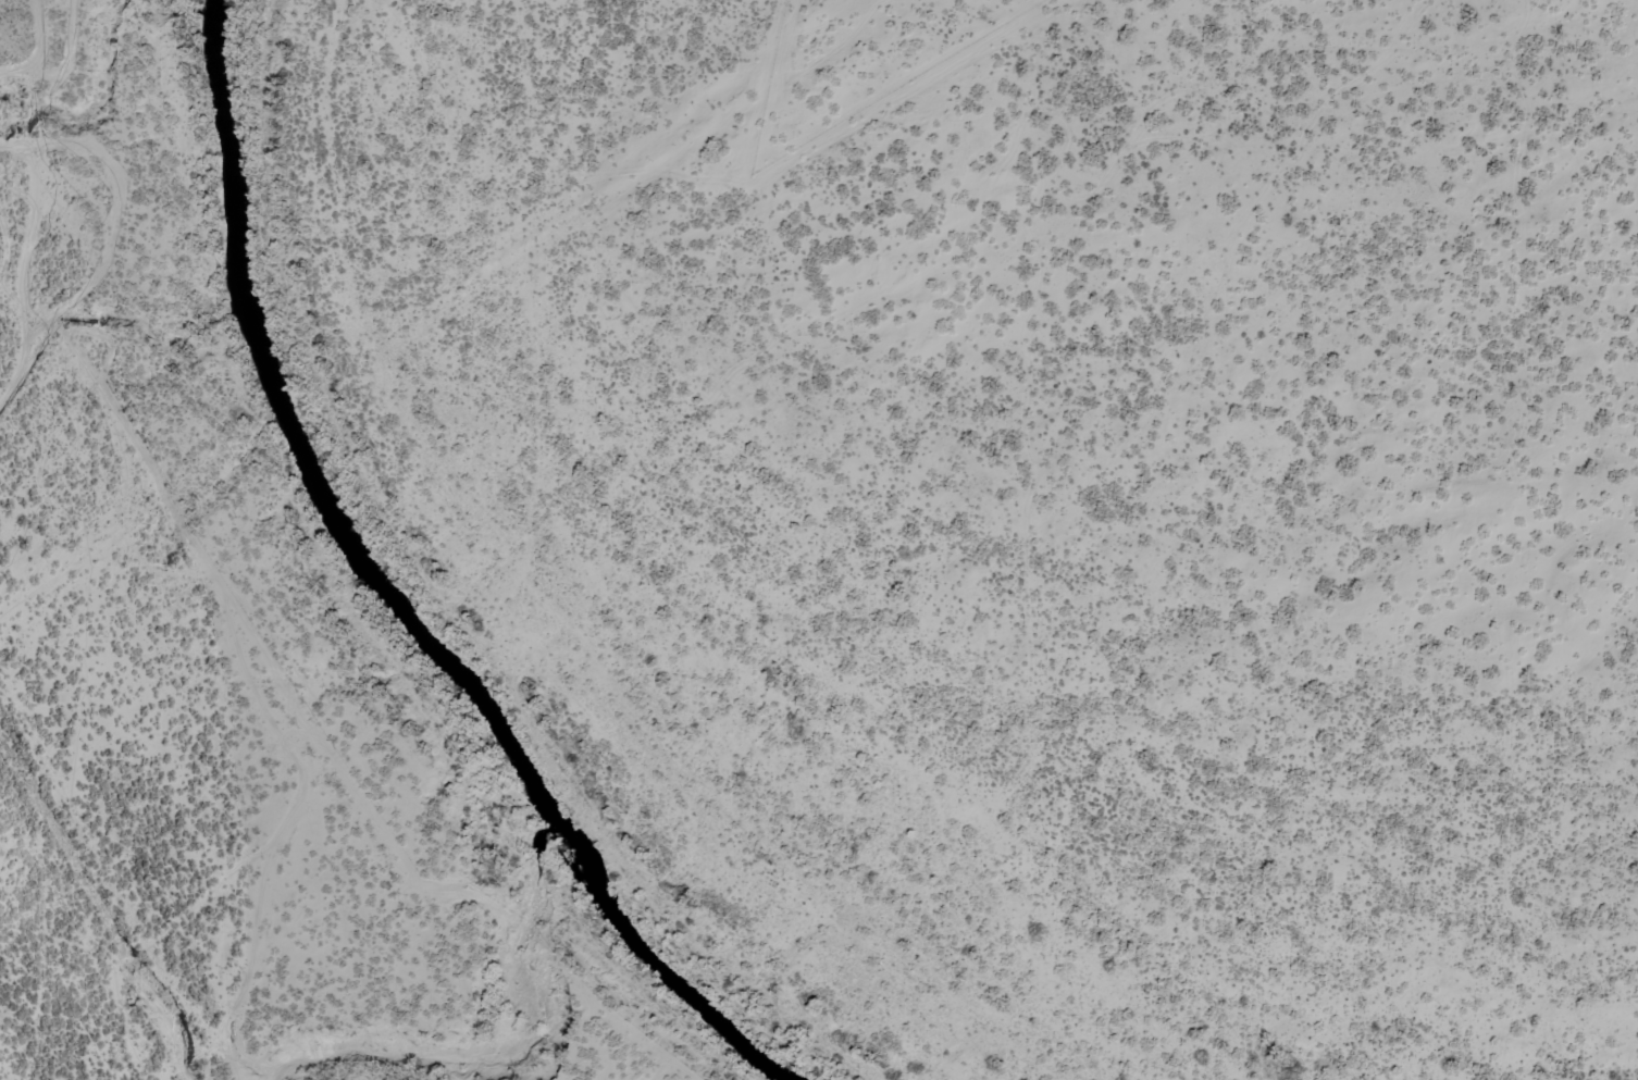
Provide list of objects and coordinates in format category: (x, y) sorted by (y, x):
river: (404, 597)

